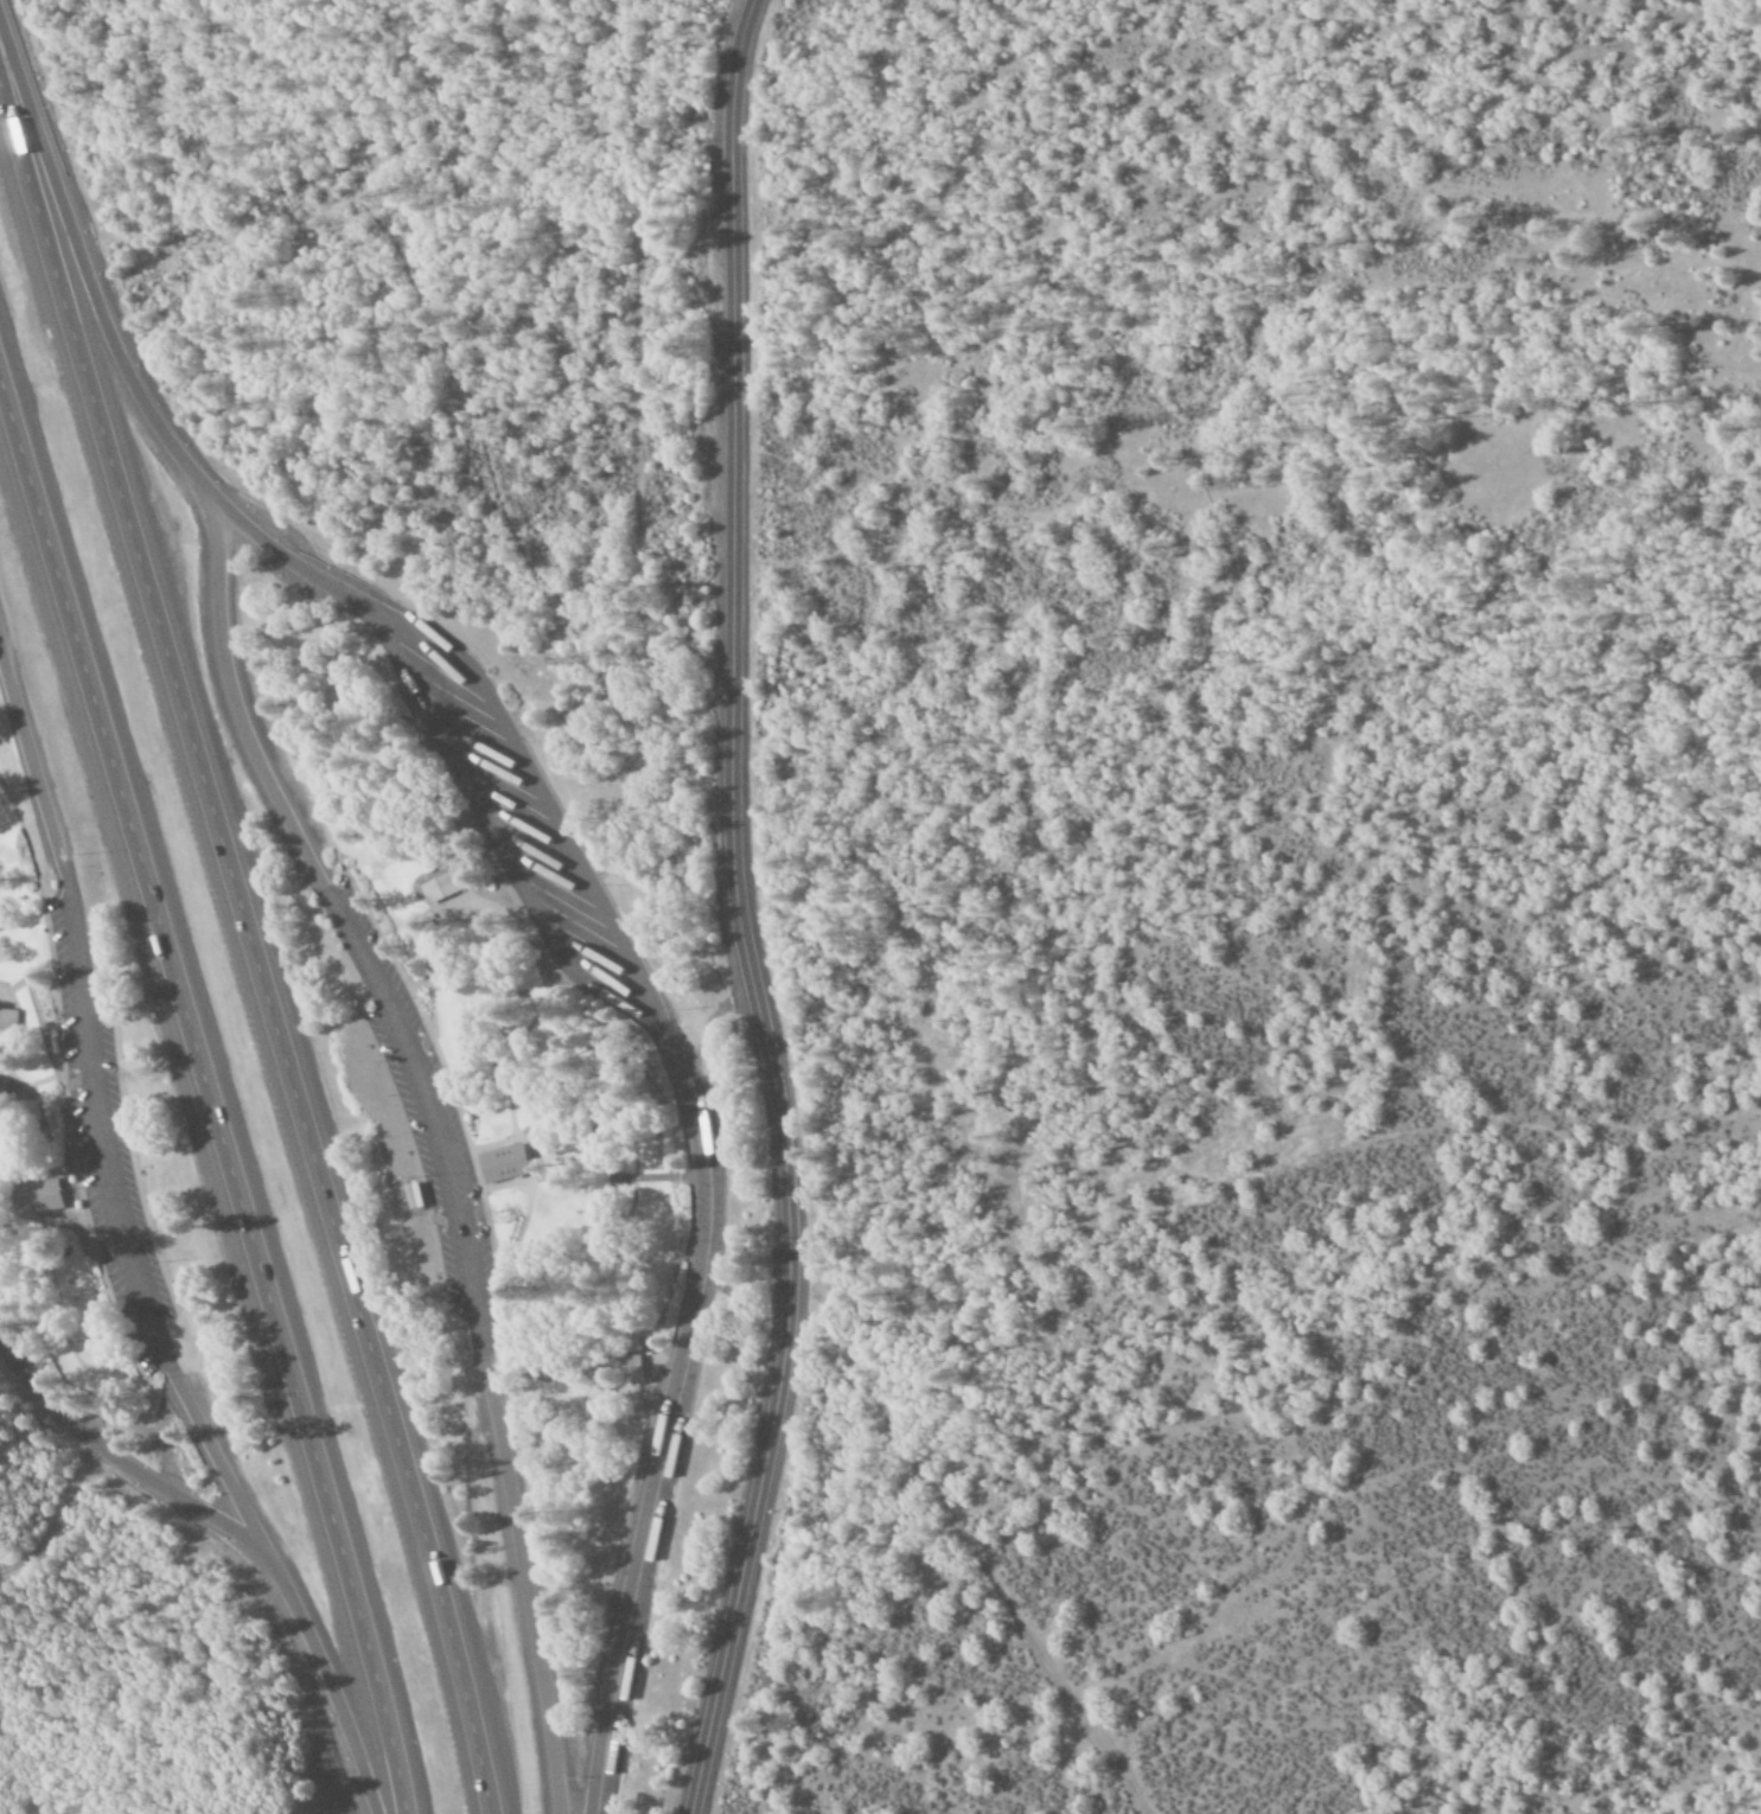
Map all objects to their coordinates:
road: (90, 260)
building: (436, 888)
road: (738, 912)
road: (261, 938)
building: (6, 1020)
road: (672, 1058)
road: (208, 1097)
road: (104, 1103)
road: (435, 1125)
building: (499, 1163)
building: (33, 1197)
building: (630, 1365)
road: (116, 1461)
road: (331, 1676)

